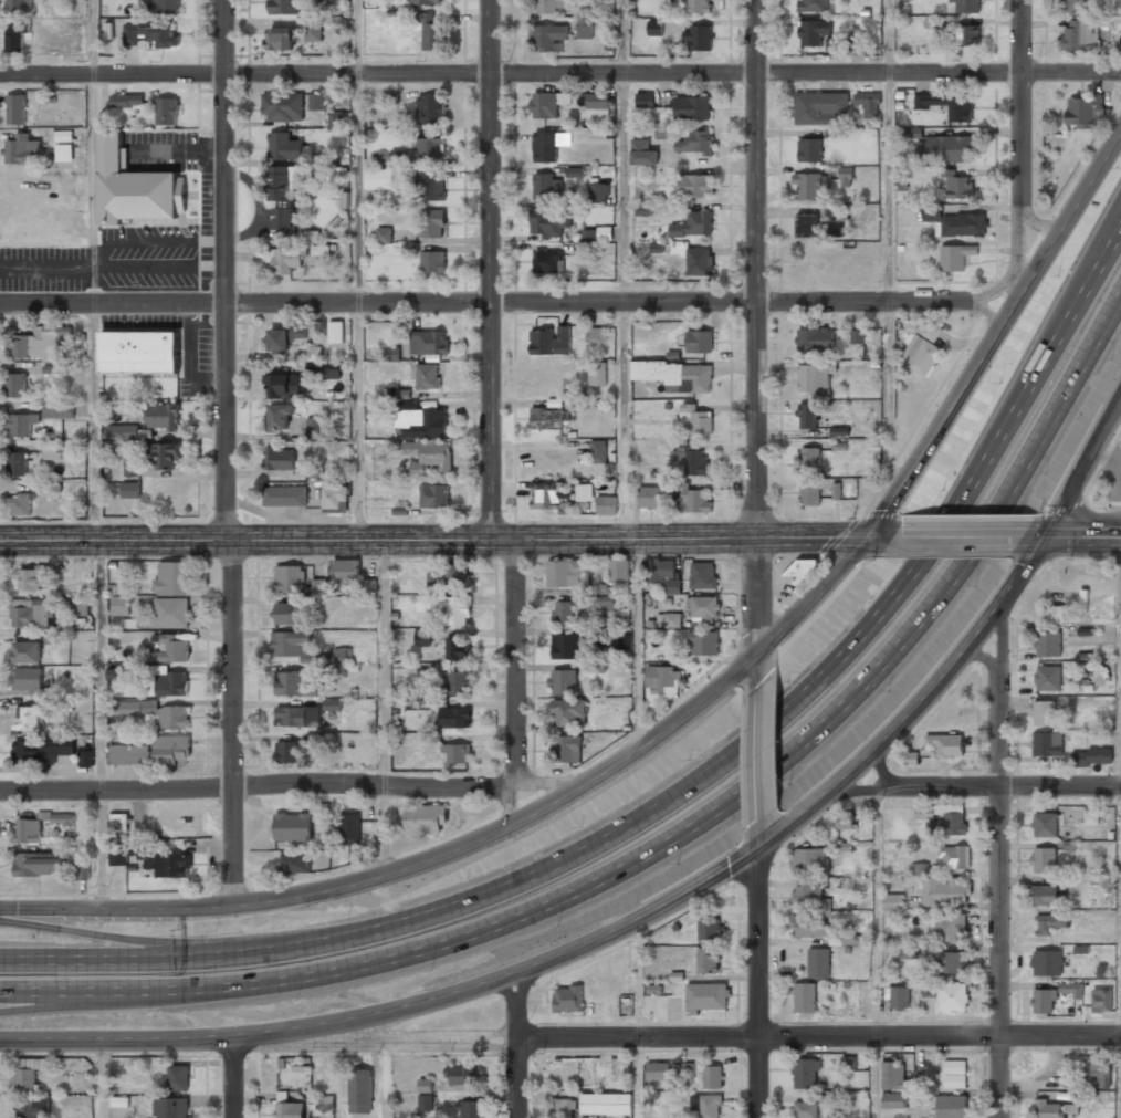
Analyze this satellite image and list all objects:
building: (605, 0)
building: (427, 1)
building: (549, 6)
building: (699, 6)
building: (813, 6)
building: (967, 6)
building: (1075, 6)
building: (19, 7)
building: (165, 7)
building: (284, 7)
building: (585, 28)
building: (654, 28)
building: (313, 30)
building: (429, 31)
building: (814, 32)
building: (151, 34)
building: (968, 34)
building: (15, 35)
building: (1080, 35)
road: (93, 36)
building: (548, 38)
building: (698, 38)
building: (280, 41)
building: (857, 42)
road: (1070, 71)
road: (510, 73)
building: (126, 100)
building: (645, 100)
building: (316, 101)
building: (597, 103)
building: (547, 104)
building: (869, 104)
building: (283, 106)
building: (819, 107)
building: (961, 107)
building: (17, 108)
building: (692, 108)
building: (430, 109)
building: (167, 111)
building: (1083, 112)
building: (336, 119)
building: (908, 132)
building: (661, 133)
building: (63, 136)
building: (564, 139)
building: (696, 142)
building: (431, 145)
building: (544, 146)
road: (1022, 148)
building: (22, 149)
building: (809, 149)
building: (945, 149)
building: (64, 153)
building: (643, 153)
building: (398, 156)
building: (846, 176)
building: (379, 179)
building: (430, 185)
building: (696, 185)
building: (544, 186)
building: (810, 186)
building: (957, 186)
building: (132, 188)
building: (598, 191)
building: (283, 201)
building: (642, 210)
building: (931, 212)
building: (432, 222)
building: (549, 222)
building: (693, 224)
building: (961, 224)
building: (815, 227)
building: (384, 234)
building: (597, 234)
building: (310, 237)
road: (1104, 240)
road: (889, 254)
building: (955, 257)
building: (433, 261)
building: (548, 261)
building: (699, 261)
road: (757, 269)
road: (779, 269)
road: (358, 270)
road: (489, 270)
road: (622, 270)
road: (511, 302)
building: (930, 330)
building: (336, 332)
building: (596, 334)
building: (285, 336)
building: (858, 336)
building: (815, 338)
building: (551, 341)
building: (699, 341)
building: (38, 344)
building: (139, 353)
building: (314, 353)
building: (392, 354)
building: (673, 355)
building: (920, 355)
building: (54, 369)
building: (324, 369)
building: (597, 373)
building: (677, 375)
building: (428, 376)
building: (815, 378)
building: (17, 385)
building: (286, 385)
building: (59, 410)
building: (164, 416)
building: (279, 416)
building: (546, 416)
building: (808, 416)
building: (695, 419)
building: (420, 420)
road: (98, 421)
building: (22, 424)
building: (314, 428)
building: (123, 431)
building: (598, 451)
building: (52, 452)
road: (226, 452)
building: (164, 454)
building: (427, 456)
building: (690, 457)
building: (810, 457)
building: (279, 458)
building: (18, 463)
building: (132, 464)
building: (130, 490)
building: (585, 492)
building: (810, 493)
building: (549, 494)
building: (284, 495)
building: (433, 495)
building: (650, 497)
building: (693, 500)
building: (606, 505)
road: (1045, 536)
road: (1082, 536)
road: (1035, 537)
traffic signals: (1045, 537)
road: (957, 539)
road: (446, 541)
traffic signals: (863, 541)
building: (664, 568)
building: (802, 568)
building: (346, 571)
building: (619, 572)
building: (566, 574)
building: (458, 576)
building: (703, 576)
building: (172, 578)
building: (28, 579)
building: (289, 579)
building: (370, 585)
building: (321, 586)
building: (672, 588)
building: (599, 604)
building: (80, 607)
building: (121, 607)
building: (704, 609)
building: (459, 610)
building: (564, 613)
road: (758, 613)
building: (29, 614)
building: (171, 614)
building: (287, 615)
building: (1056, 616)
building: (669, 620)
building: (422, 636)
building: (622, 641)
building: (702, 642)
building: (289, 644)
road: (639, 645)
building: (1048, 645)
building: (567, 646)
building: (457, 648)
building: (171, 649)
building: (27, 652)
building: (341, 655)
road: (516, 662)
road: (1120, 669)
building: (1047, 678)
building: (28, 680)
building: (662, 680)
building: (563, 681)
building: (458, 683)
building: (170, 685)
building: (293, 685)
building: (418, 703)
road: (385, 708)
building: (157, 713)
building: (568, 713)
building: (1044, 713)
road: (685, 715)
building: (298, 717)
building: (27, 719)
building: (454, 719)
road: (101, 724)
building: (946, 745)
building: (1047, 745)
building: (568, 750)
building: (41, 751)
building: (154, 752)
building: (287, 753)
building: (455, 753)
road: (759, 754)
building: (1092, 756)
building: (911, 757)
building: (84, 759)
road: (258, 785)
road: (919, 786)
road: (1061, 786)
road: (548, 787)
road: (683, 790)
road: (516, 805)
building: (1091, 816)
building: (1104, 817)
building: (63, 818)
building: (425, 818)
building: (845, 822)
building: (118, 823)
building: (950, 823)
building: (293, 826)
building: (1045, 826)
building: (349, 828)
building: (28, 832)
road: (678, 834)
road: (759, 834)
building: (954, 857)
building: (118, 858)
road: (1000, 858)
building: (809, 859)
building: (1043, 860)
building: (294, 863)
building: (36, 865)
building: (174, 866)
building: (919, 868)
building: (80, 870)
building: (946, 891)
building: (807, 895)
building: (1043, 895)
building: (892, 901)
road: (666, 903)
building: (1050, 922)
building: (808, 927)
building: (952, 928)
building: (710, 930)
building: (847, 938)
road: (138, 941)
road: (876, 951)
building: (909, 952)
building: (708, 961)
building: (1048, 962)
building: (951, 963)
building: (818, 964)
road: (758, 982)
building: (926, 989)
building: (1071, 990)
building: (706, 997)
building: (952, 997)
building: (568, 999)
building: (805, 999)
building: (899, 999)
building: (1101, 1000)
building: (1045, 1001)
road: (109, 1004)
road: (638, 1018)
road: (1060, 1036)
road: (657, 1037)
road: (517, 1045)
building: (848, 1065)
building: (658, 1072)
building: (690, 1074)
building: (805, 1074)
building: (954, 1075)
road: (234, 1076)
building: (459, 1076)
building: (893, 1076)
building: (1099, 1076)
road: (102, 1077)
building: (712, 1077)
building: (179, 1078)
road: (386, 1078)
building: (24, 1080)
building: (360, 1090)
building: (426, 1096)
building: (893, 1101)
building: (326, 1103)
building: (606, 1105)
building: (706, 1105)
building: (951, 1107)
building: (30, 1108)
building: (170, 1108)
building: (472, 1109)
building: (566, 1109)
building: (289, 1110)
building: (805, 1110)
building: (1050, 1110)

